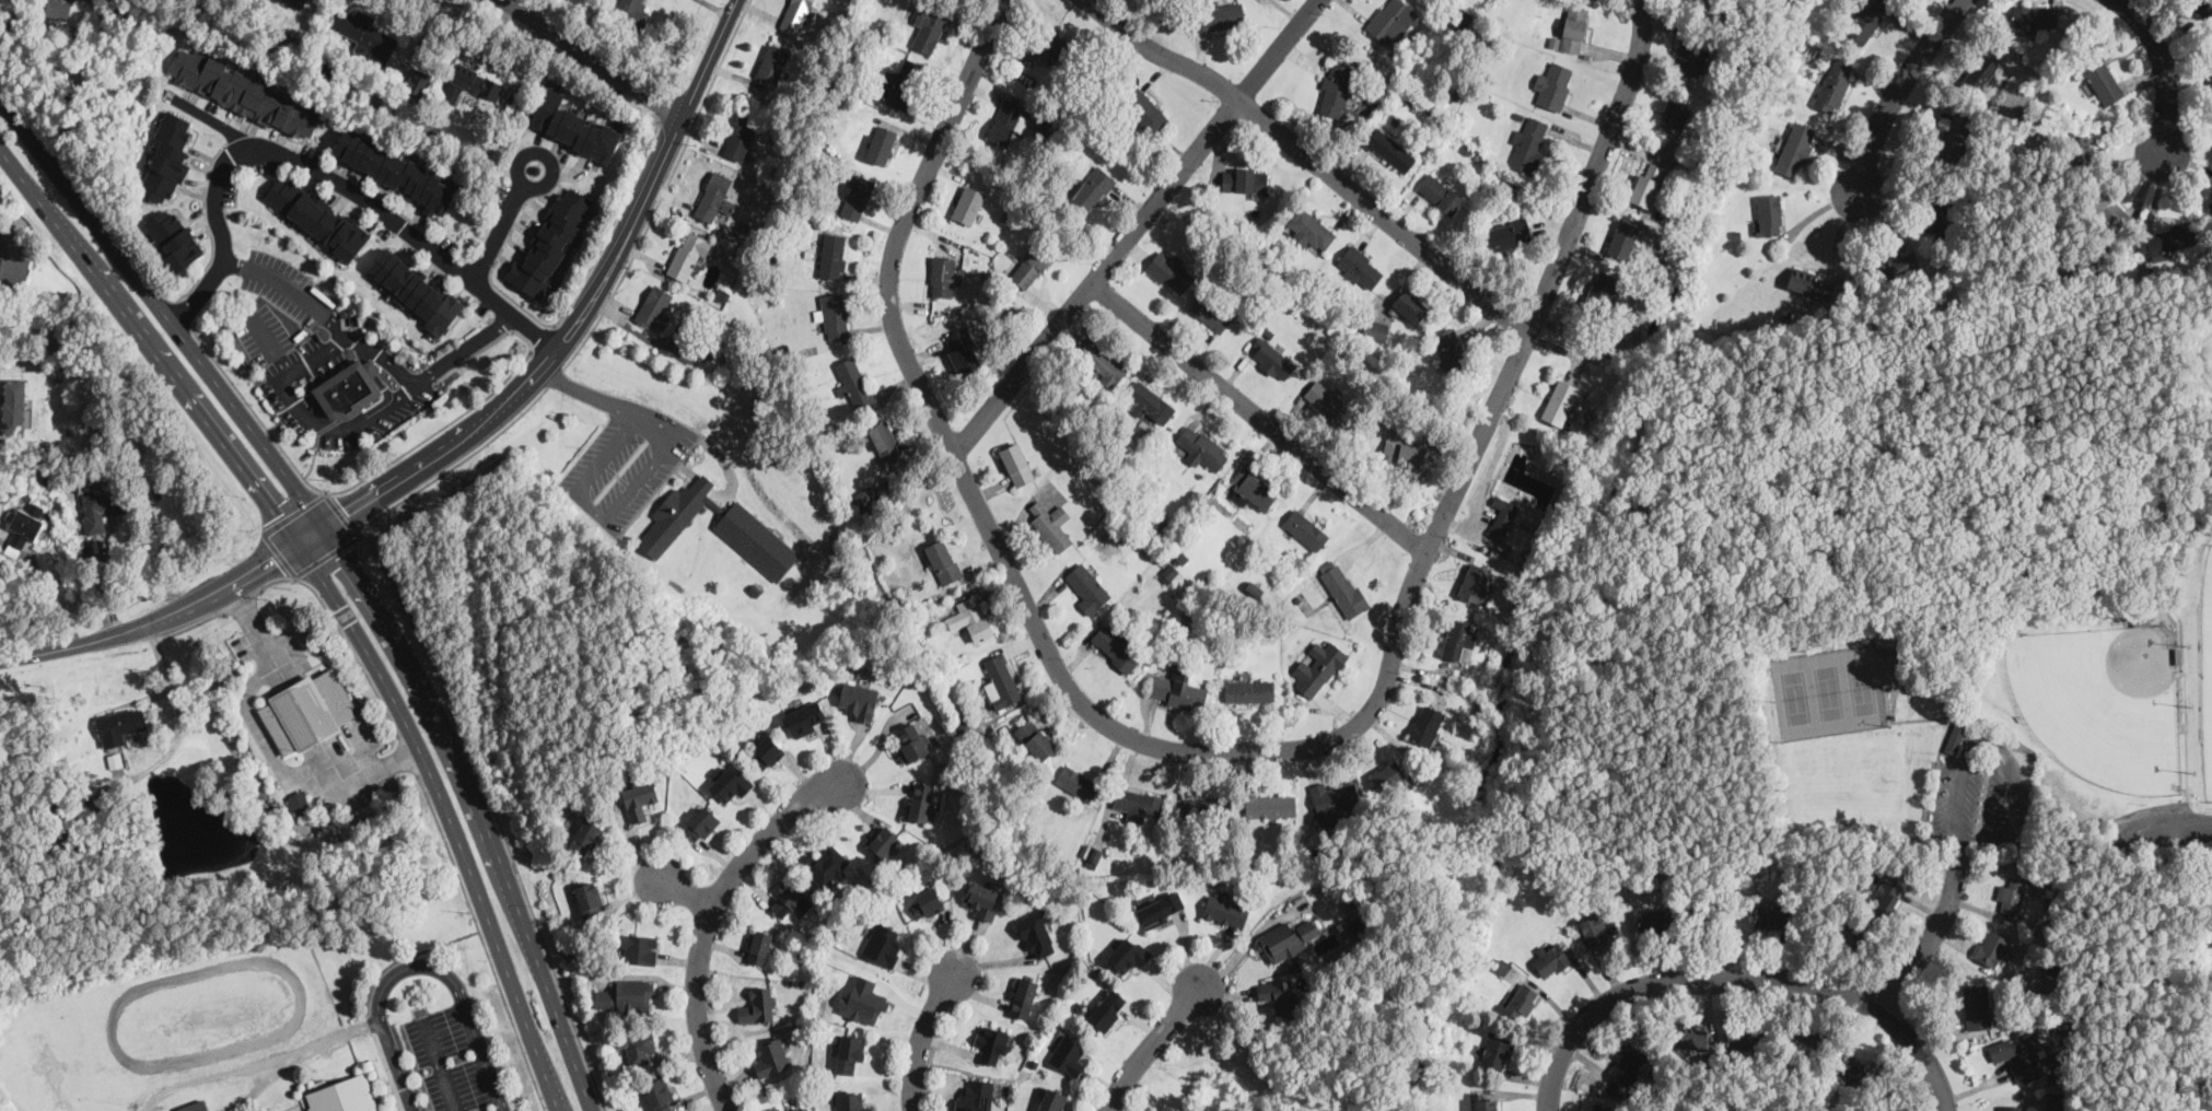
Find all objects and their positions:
building: (296, 2)
building: (2203, 7)
building: (59, 8)
building: (631, 12)
building: (795, 14)
building: (1218, 15)
building: (2035, 15)
building: (1462, 16)
building: (1388, 19)
building: (1864, 21)
building: (930, 25)
building: (1574, 28)
building: (364, 33)
building: (1050, 45)
road: (595, 57)
building: (1686, 58)
building: (773, 62)
road: (2163, 66)
building: (1982, 69)
building: (2099, 74)
building: (418, 80)
building: (904, 82)
building: (471, 83)
building: (1553, 84)
building: (1833, 84)
road: (1897, 89)
building: (1335, 90)
building: (245, 93)
building: (1144, 108)
building: (1675, 115)
building: (1008, 120)
building: (572, 126)
building: (1954, 135)
building: (742, 137)
building: (881, 143)
building: (1529, 143)
building: (1795, 148)
building: (1390, 150)
building: (2081, 150)
road: (1313, 159)
building: (166, 160)
building: (394, 169)
road: (324, 172)
building: (1244, 178)
building: (1646, 183)
road: (663, 188)
building: (1093, 188)
building: (1440, 192)
building: (858, 196)
building: (714, 197)
building: (968, 203)
building: (2106, 208)
park: (480, 211)
building: (1769, 213)
building: (1935, 214)
building: (316, 215)
road: (614, 219)
road: (904, 221)
road: (502, 224)
road: (1136, 226)
building: (1311, 230)
building: (0, 232)
building: (1509, 233)
building: (1623, 237)
building: (174, 239)
building: (2166, 241)
building: (549, 244)
building: (833, 255)
building: (687, 256)
road: (140, 259)
building: (1893, 262)
building: (1031, 266)
building: (1360, 267)
building: (13, 270)
building: (1168, 271)
road: (490, 274)
building: (943, 274)
building: (1811, 282)
building: (1602, 286)
building: (414, 289)
building: (1410, 304)
building: (654, 307)
road: (182, 311)
building: (1209, 312)
building: (834, 314)
road: (1946, 324)
building: (1375, 329)
road: (545, 337)
road: (270, 342)
road: (369, 347)
building: (696, 349)
building: (963, 349)
building: (1451, 349)
park: (2203, 354)
building: (1270, 358)
building: (1101, 362)
road: (555, 377)
building: (853, 381)
building: (349, 388)
road: (586, 391)
building: (1328, 400)
building: (1559, 401)
building: (1150, 402)
building: (13, 407)
road: (310, 414)
road: (1259, 417)
road: (464, 435)
building: (884, 438)
building: (1201, 446)
building: (1402, 449)
road: (313, 461)
building: (1018, 463)
road: (1576, 473)
road: (1813, 479)
road: (2103, 479)
road: (345, 488)
building: (1253, 488)
building: (865, 495)
building: (98, 504)
road: (609, 508)
road: (1705, 510)
road: (293, 512)
traffic signals: (279, 513)
traffic signals: (349, 513)
road: (342, 514)
building: (674, 515)
building: (1502, 516)
building: (1051, 525)
building: (24, 526)
building: (1305, 528)
road: (1786, 528)
building: (756, 540)
road: (279, 553)
traffic signals: (346, 553)
road: (327, 555)
traffic signals: (273, 560)
building: (943, 560)
road: (354, 570)
building: (1168, 572)
building: (1476, 583)
road: (107, 585)
building: (1342, 587)
building: (1087, 588)
road: (336, 596)
building: (971, 618)
road: (1398, 631)
park: (1907, 631)
road: (341, 633)
building: (1458, 638)
road: (1911, 642)
building: (1116, 646)
building: (1319, 670)
building: (1001, 681)
building: (1178, 687)
park: (1831, 688)
building: (1246, 690)
building: (859, 699)
park: (2103, 700)
road: (447, 705)
building: (307, 710)
road: (1941, 716)
building: (805, 717)
building: (1427, 723)
building: (119, 725)
building: (1956, 735)
building: (915, 738)
building: (1035, 739)
road: (266, 741)
building: (766, 751)
road: (2187, 765)
building: (1388, 775)
building: (731, 782)
building: (1076, 782)
road: (1610, 792)
parking lot: (1983, 793)
building: (1336, 798)
building: (298, 799)
building: (639, 799)
building: (922, 800)
building: (1138, 803)
building: (1270, 804)
building: (1206, 809)
road: (2210, 820)
building: (699, 822)
parking lot: (2161, 829)
building: (584, 835)
building: (884, 841)
road: (1959, 855)
building: (1094, 856)
building: (826, 866)
road: (682, 890)
building: (1883, 894)
building: (2013, 894)
building: (785, 897)
building: (590, 899)
building: (981, 899)
building: (927, 902)
building: (1162, 908)
building: (1226, 909)
building: (1770, 915)
road: (710, 916)
building: (1653, 921)
building: (1597, 925)
building: (1037, 933)
building: (1848, 933)
building: (1287, 938)
road: (482, 942)
road: (1931, 942)
building: (882, 944)
building: (758, 945)
building: (1991, 947)
building: (639, 948)
building: (1128, 955)
road: (407, 956)
building: (1550, 958)
building: (1502, 966)
road: (1742, 984)
road: (458, 991)
building: (1278, 994)
building: (625, 995)
building: (1023, 996)
building: (863, 1002)
building: (1520, 1002)
building: (758, 1005)
building: (1976, 1007)
building: (1107, 1010)
track: (206, 1013)
road: (924, 1032)
building: (1693, 1037)
building: (1742, 1037)
building: (992, 1040)
building: (1803, 1040)
road: (1149, 1043)
building: (638, 1046)
building: (1497, 1049)
building: (848, 1053)
building: (1068, 1054)
building: (770, 1056)
building: (2019, 1057)
building: (1627, 1061)
road: (258, 1062)
road: (397, 1066)
building: (1853, 1067)
building: (344, 1094)
building: (659, 1094)
building: (975, 1096)
building: (1051, 1100)
building: (851, 1101)
building: (2053, 1101)
building: (1486, 1102)
building: (195, 1106)
building: (1884, 1107)
building: (2011, 1108)
building: (776, 1109)
building: (803, 1109)

